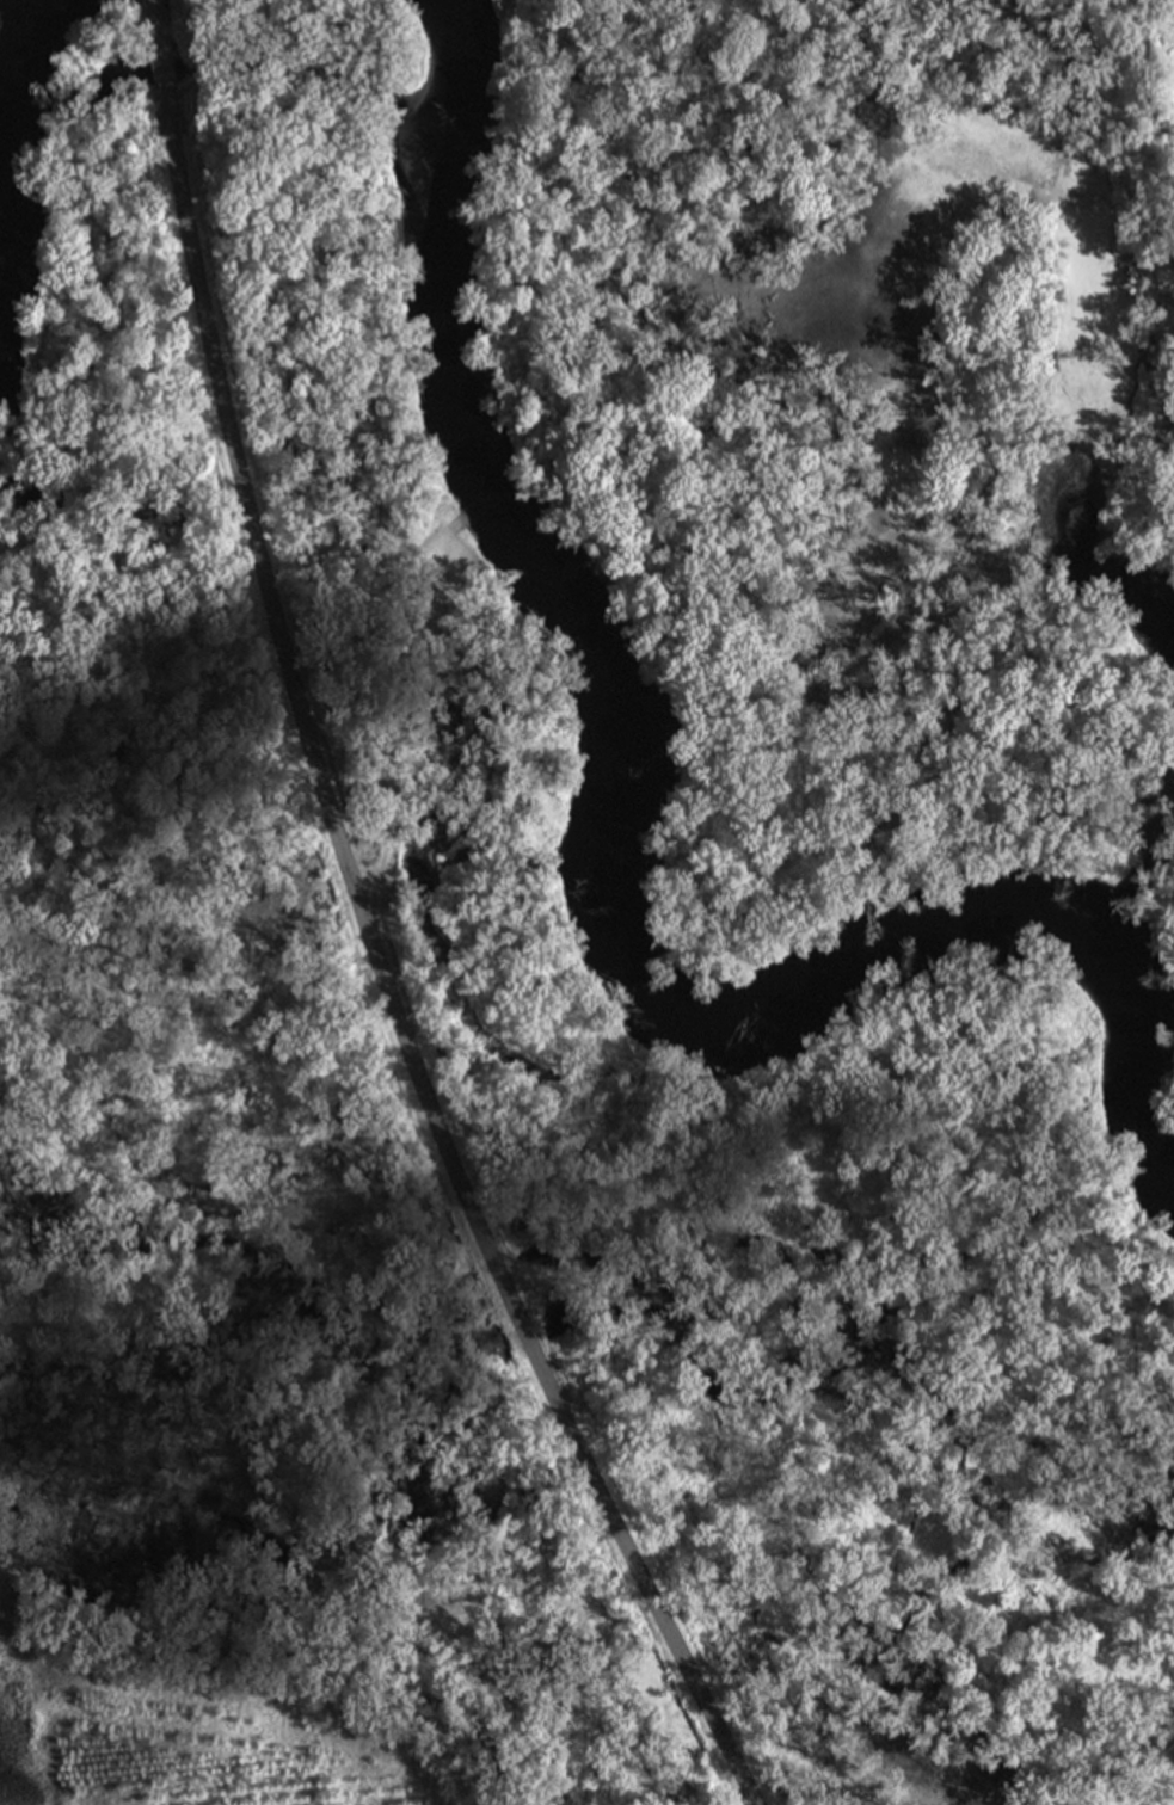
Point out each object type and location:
road: (160, 48)
river: (33, 84)
parking lot: (437, 584)
road: (394, 716)
river: (592, 820)
river: (1142, 877)
road: (385, 977)

